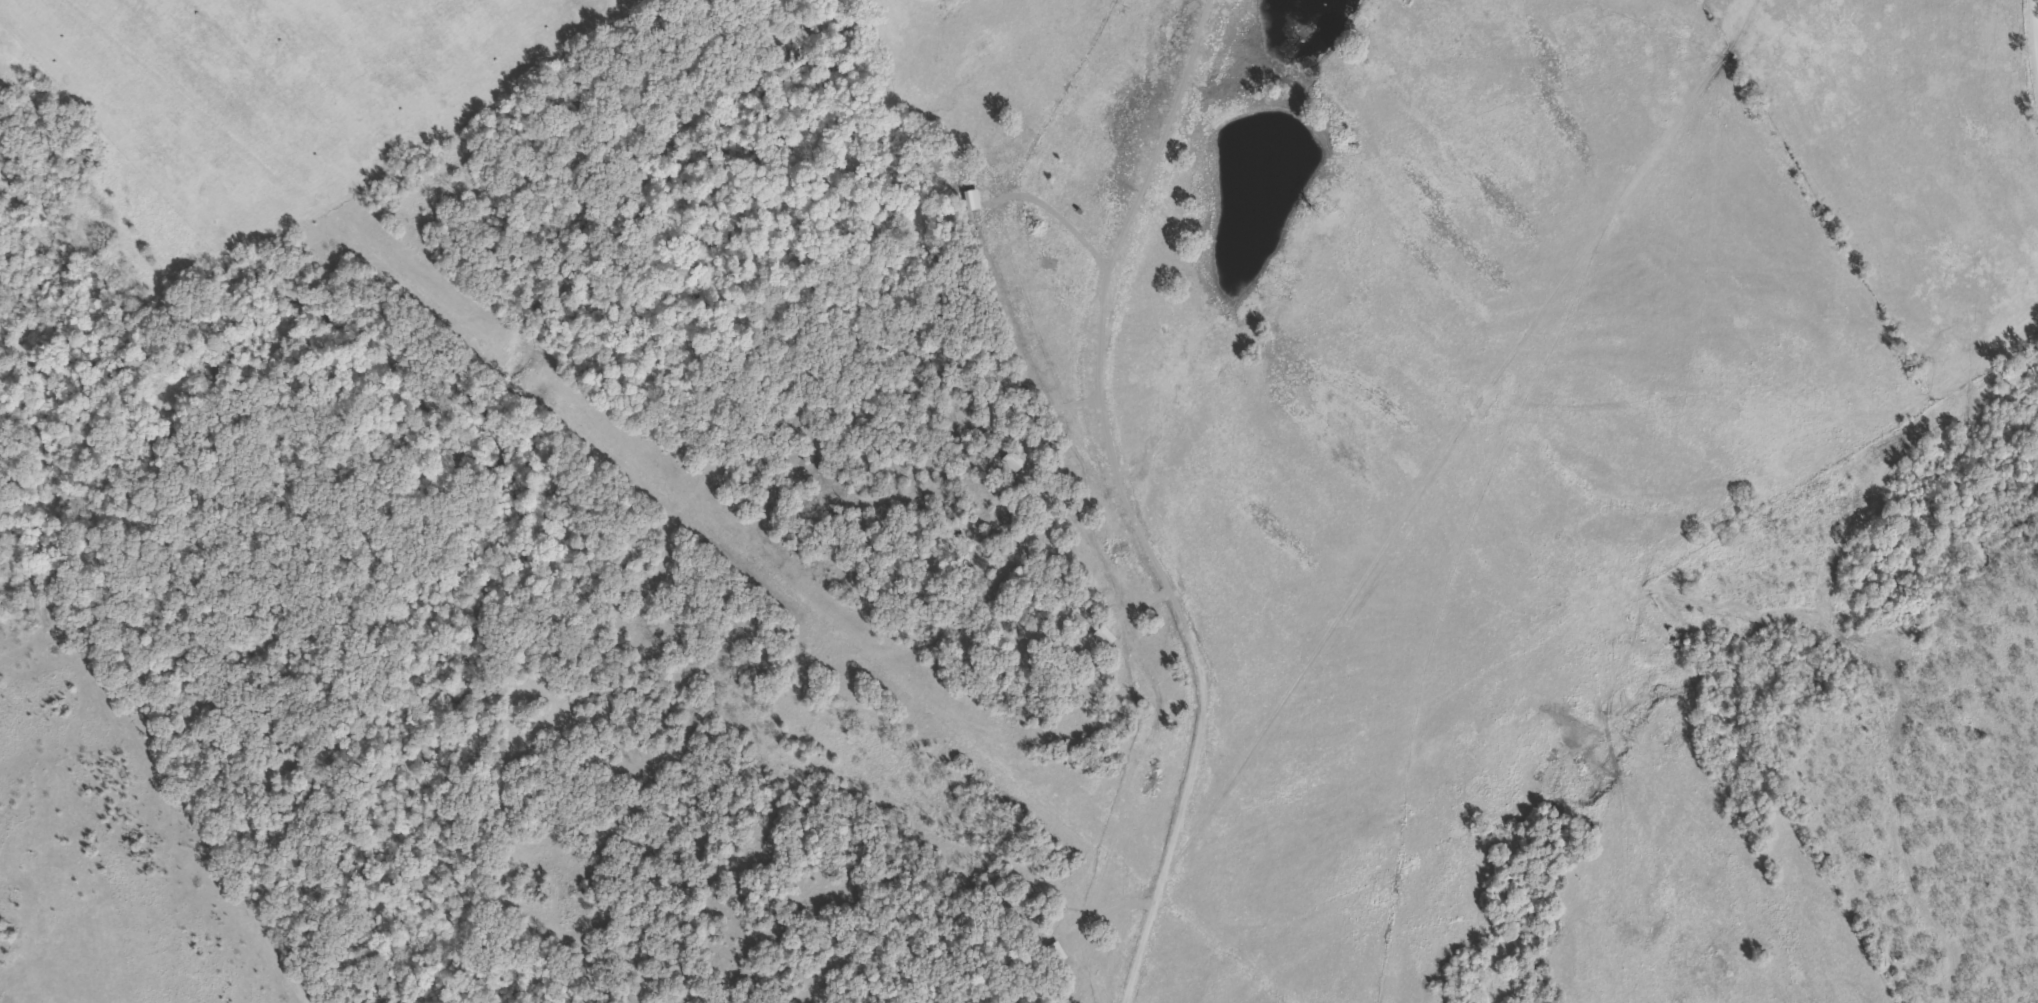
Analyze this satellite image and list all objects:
road: (2035, 28)
road: (1881, 411)

